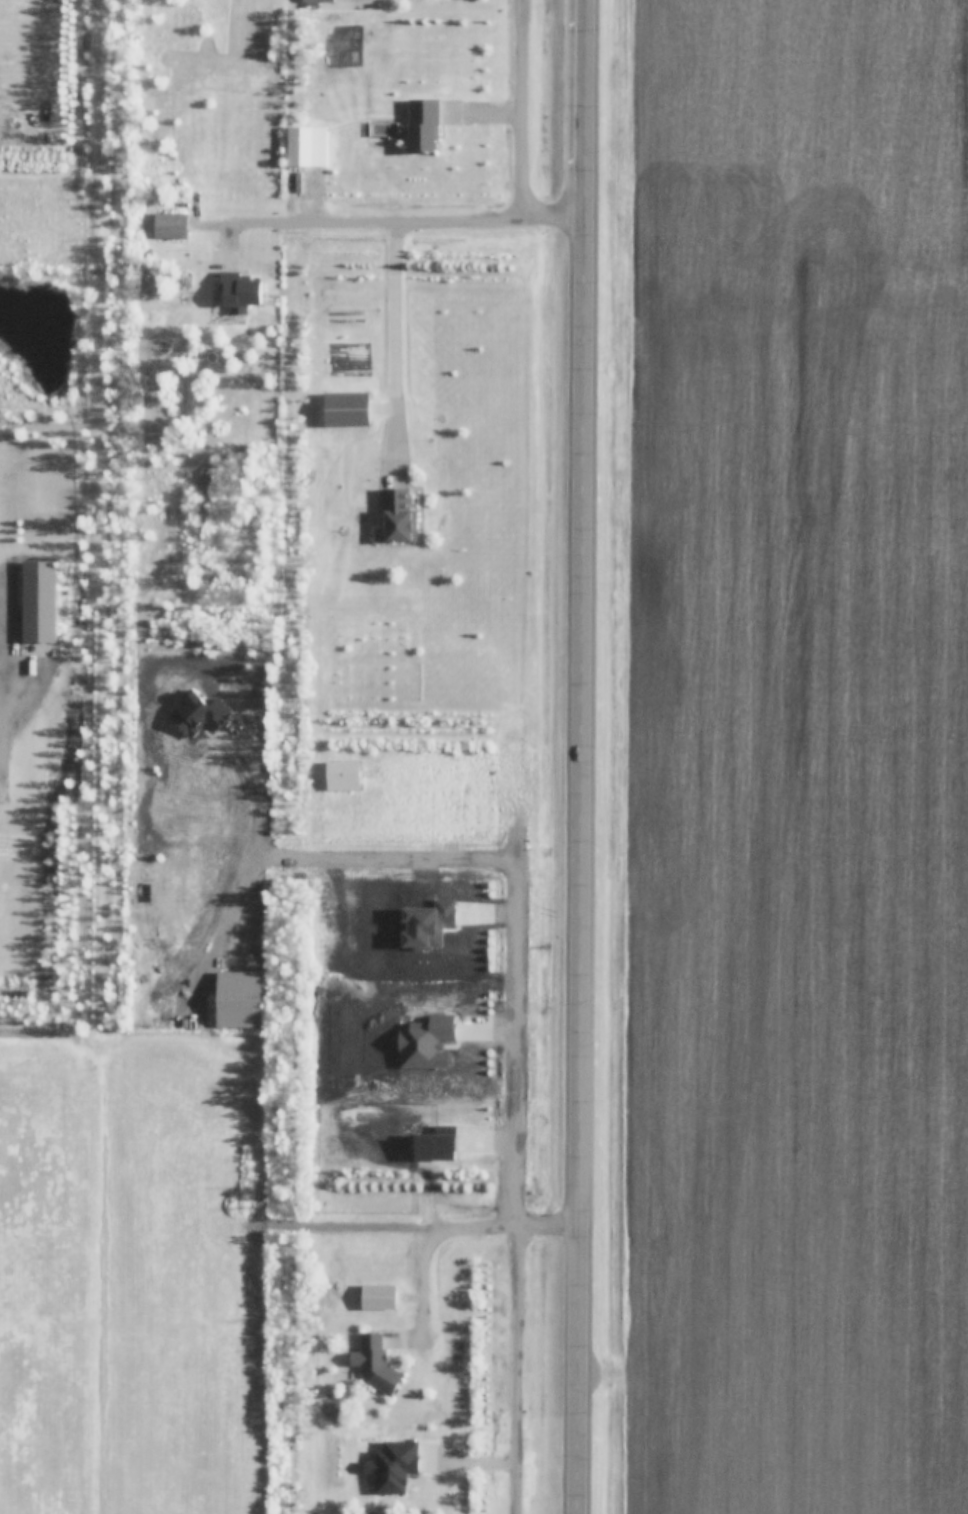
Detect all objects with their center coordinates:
building: (319, 1)
road: (523, 108)
building: (425, 127)
building: (301, 147)
road: (411, 218)
building: (172, 226)
building: (241, 293)
road: (398, 343)
building: (348, 409)
building: (400, 515)
building: (40, 601)
road: (587, 757)
building: (343, 776)
road: (507, 863)
road: (224, 929)
building: (241, 1007)
road: (455, 1228)
building: (380, 1297)
building: (376, 1364)
road: (517, 1369)

